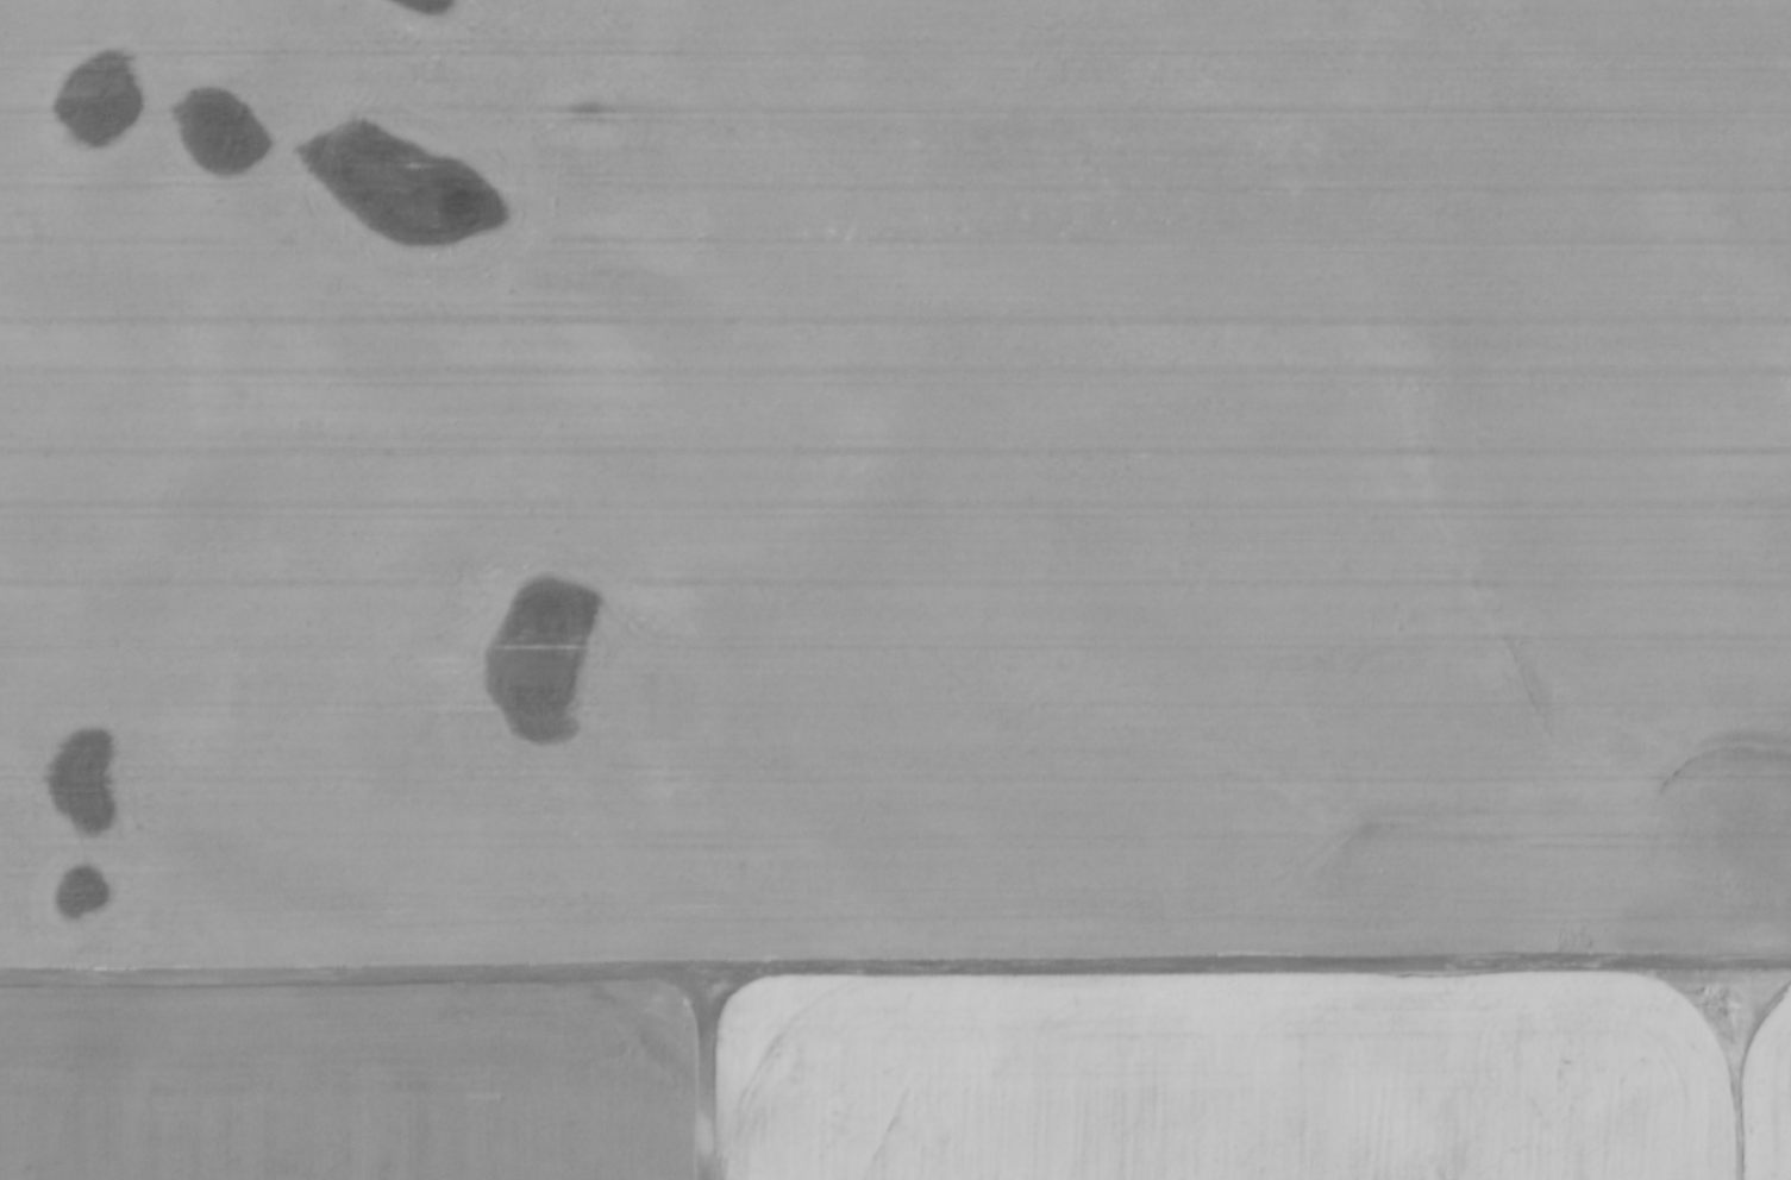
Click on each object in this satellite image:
road: (895, 973)
road: (666, 1037)
road: (763, 1059)

